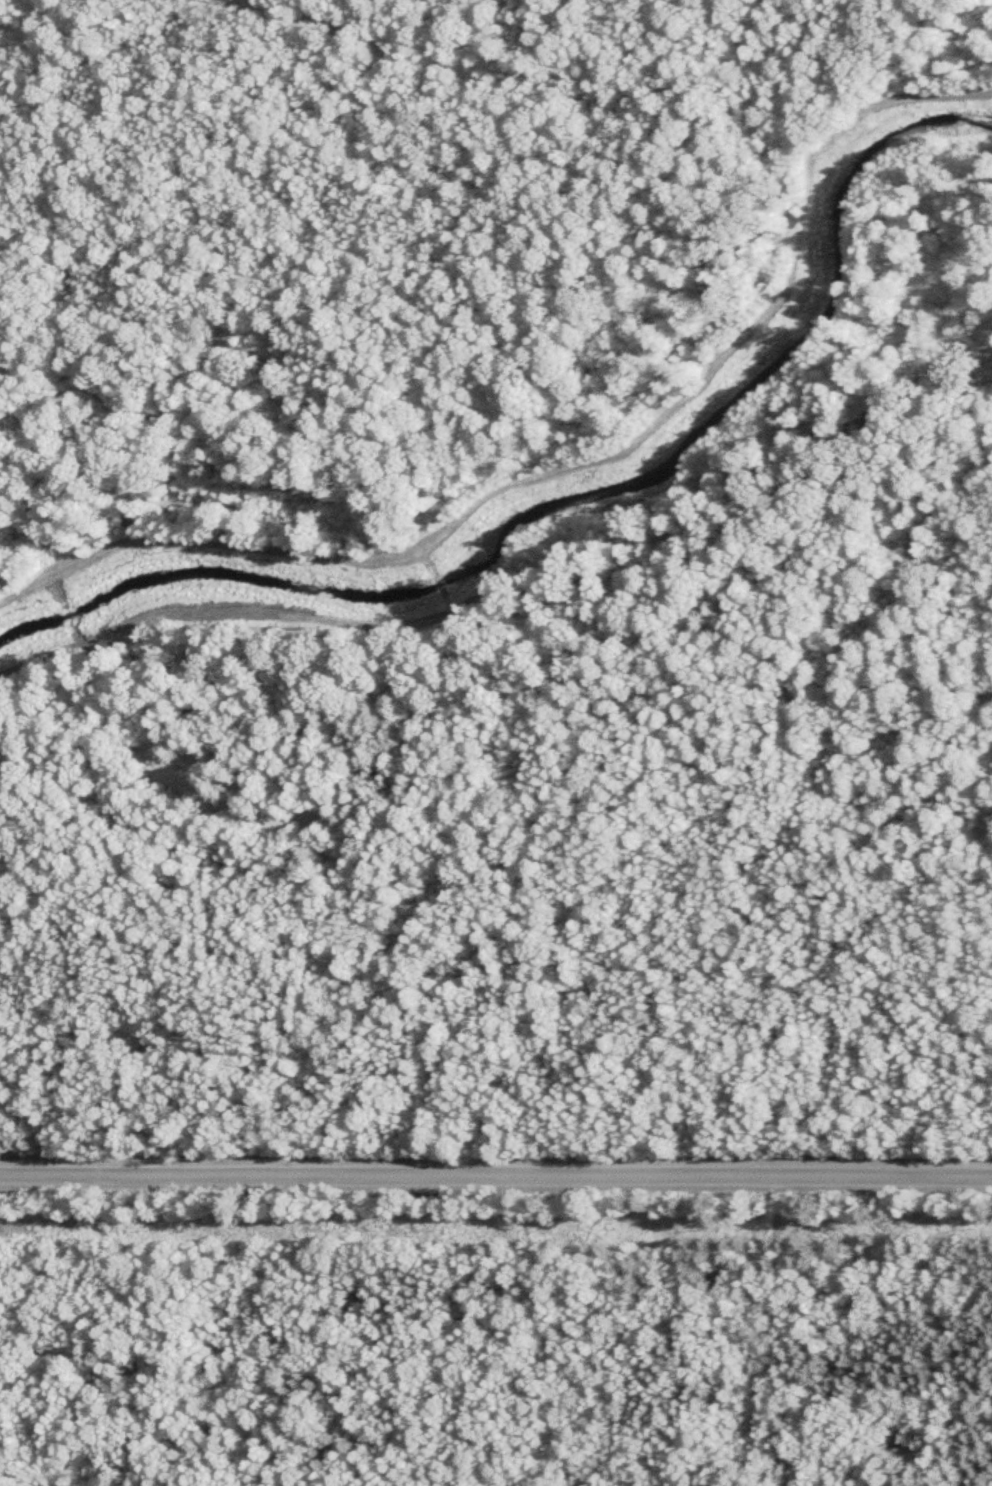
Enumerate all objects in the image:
road: (496, 1178)

